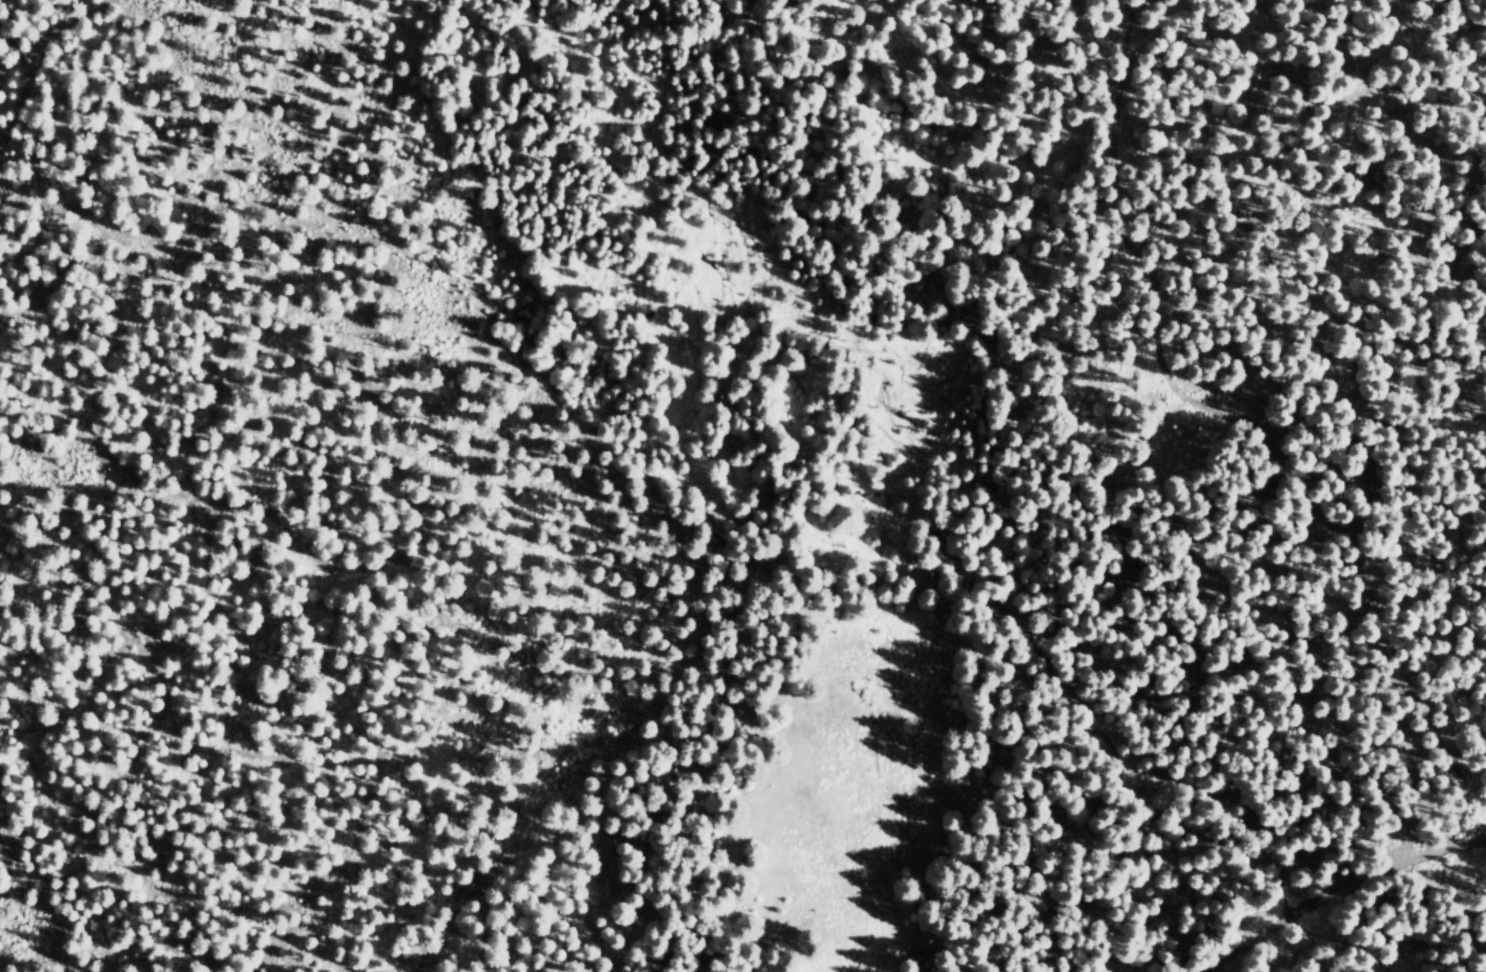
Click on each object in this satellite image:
road: (1181, 784)

